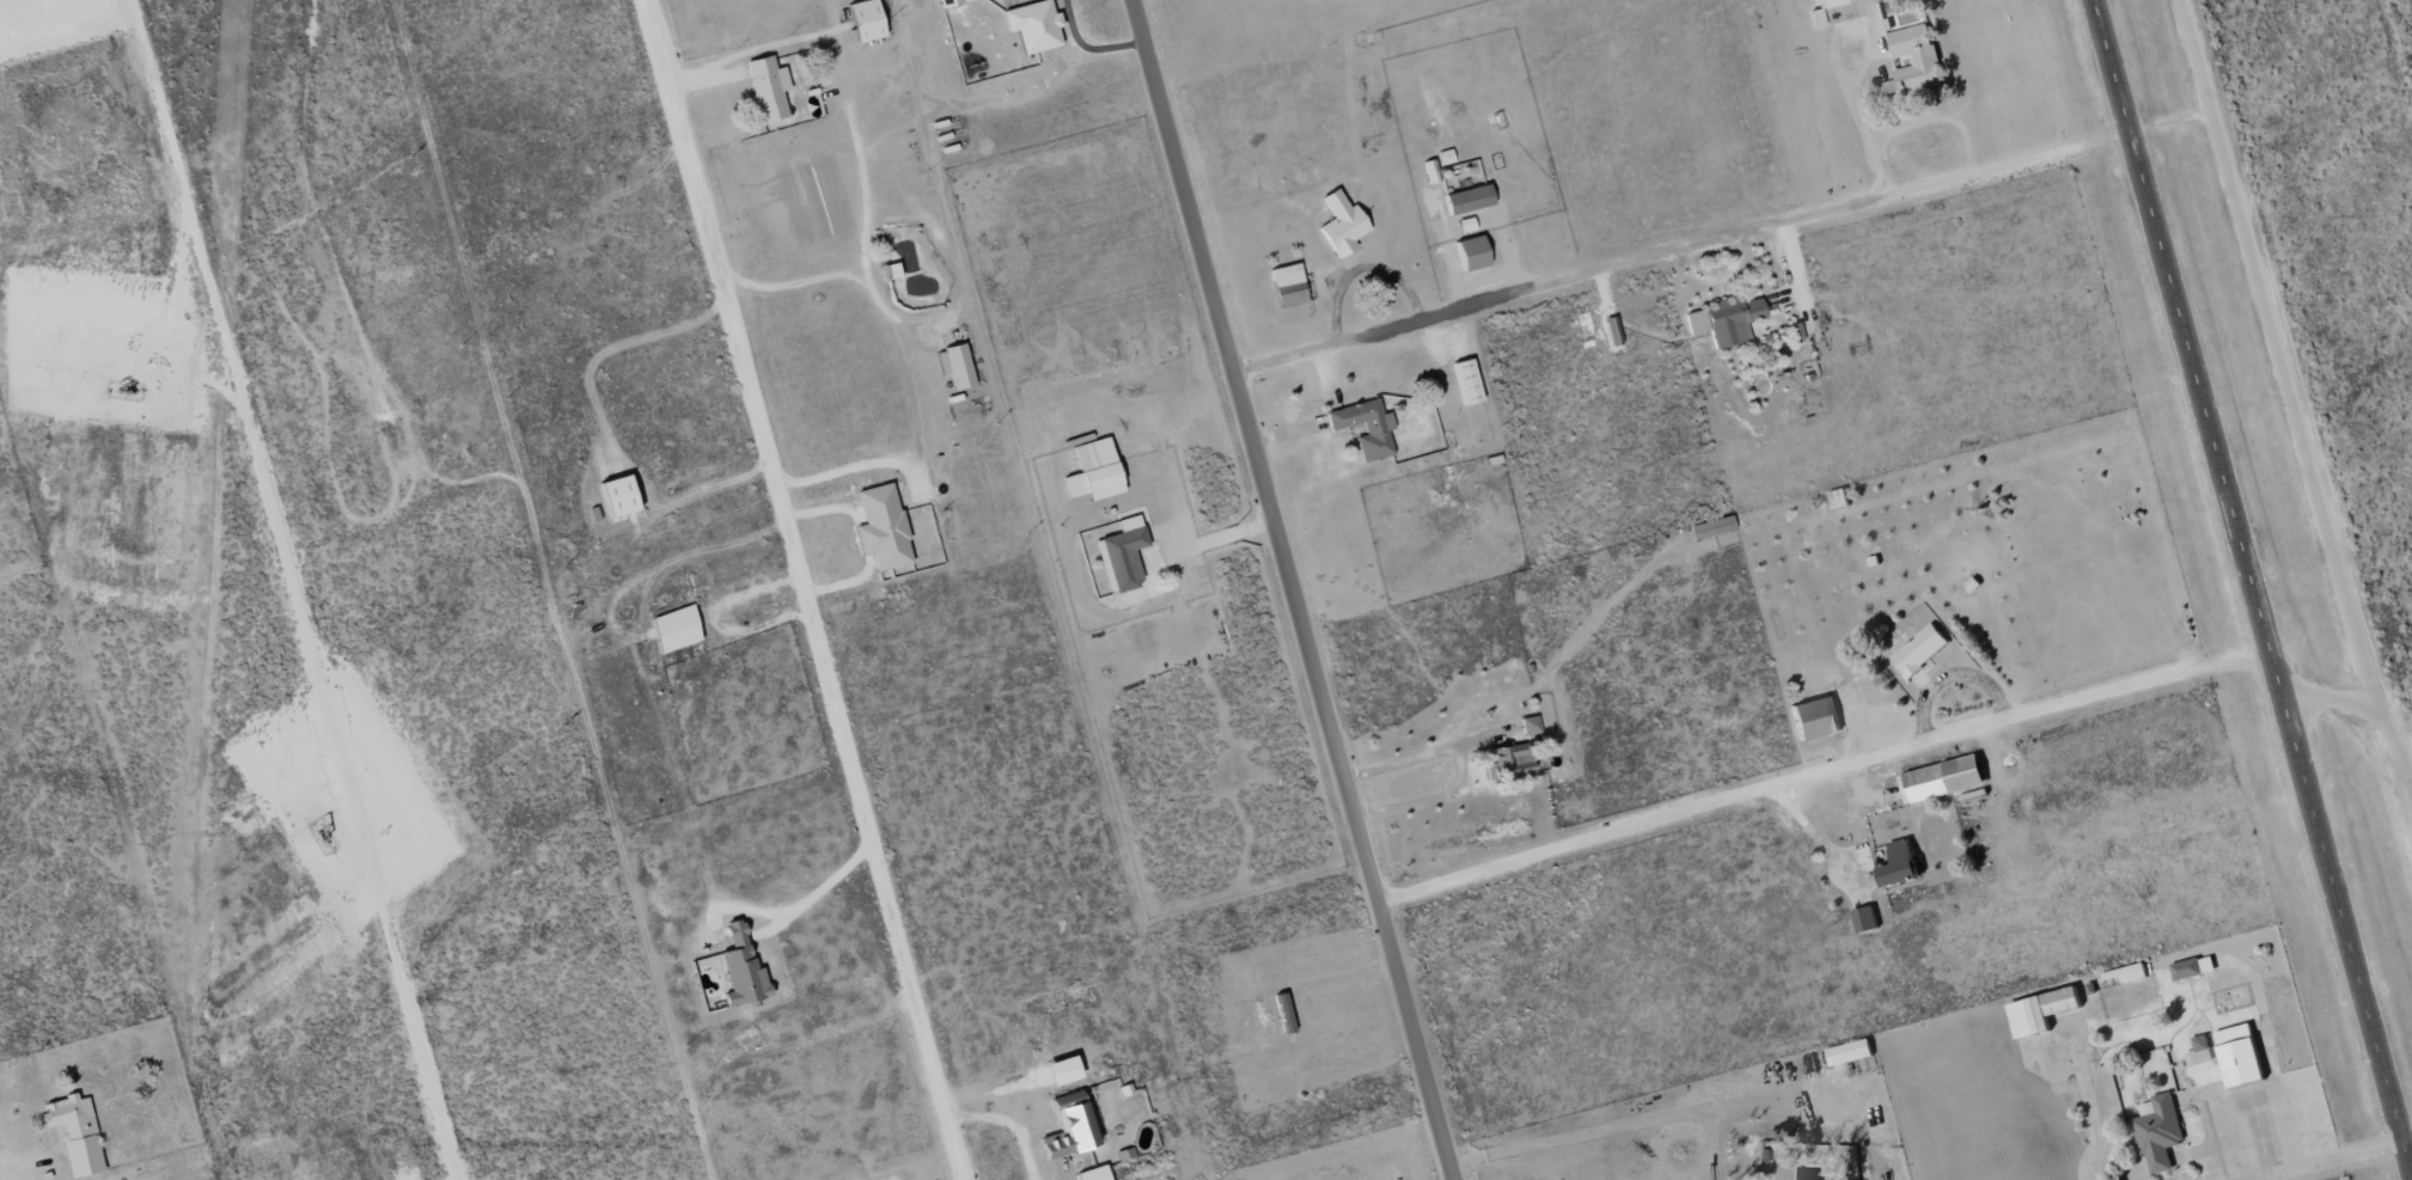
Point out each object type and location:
building: (952, 2)
building: (1832, 2)
building: (865, 20)
building: (1033, 25)
building: (1915, 63)
building: (767, 88)
building: (1445, 157)
building: (1468, 198)
building: (1341, 225)
building: (1471, 253)
road: (1669, 255)
building: (891, 271)
building: (1287, 286)
building: (1724, 322)
building: (1793, 332)
building: (954, 366)
building: (1466, 381)
airport: (2297, 405)
building: (1366, 427)
building: (1094, 471)
building: (617, 497)
building: (1838, 499)
building: (881, 527)
building: (1711, 527)
building: (1122, 555)
road: (800, 589)
road: (1289, 589)
airport runway: (2246, 589)
building: (674, 629)
building: (1919, 650)
building: (1815, 717)
building: (1529, 726)
building: (1508, 762)
road: (1810, 775)
building: (1941, 779)
building: (1900, 864)
road: (802, 904)
building: (1866, 919)
building: (740, 967)
building: (2193, 967)
building: (2126, 973)
building: (2041, 1011)
building: (2199, 1051)
building: (1849, 1052)
building: (2240, 1056)
building: (1068, 1126)
building: (2158, 1132)
building: (72, 1133)
road: (2329, 1164)
building: (1093, 1173)

